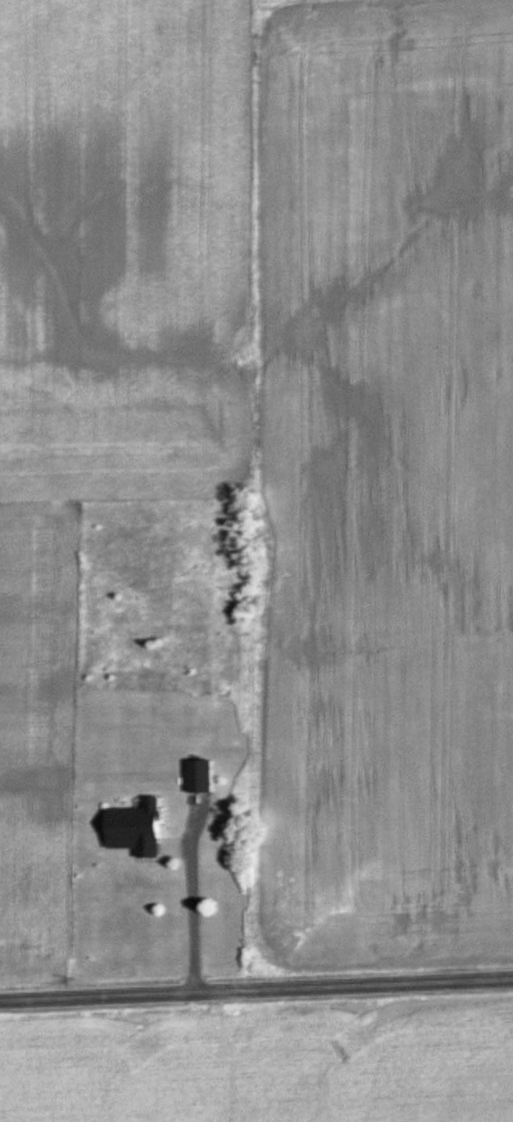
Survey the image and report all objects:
building: (195, 775)
building: (136, 827)
road: (195, 917)
road: (256, 994)

